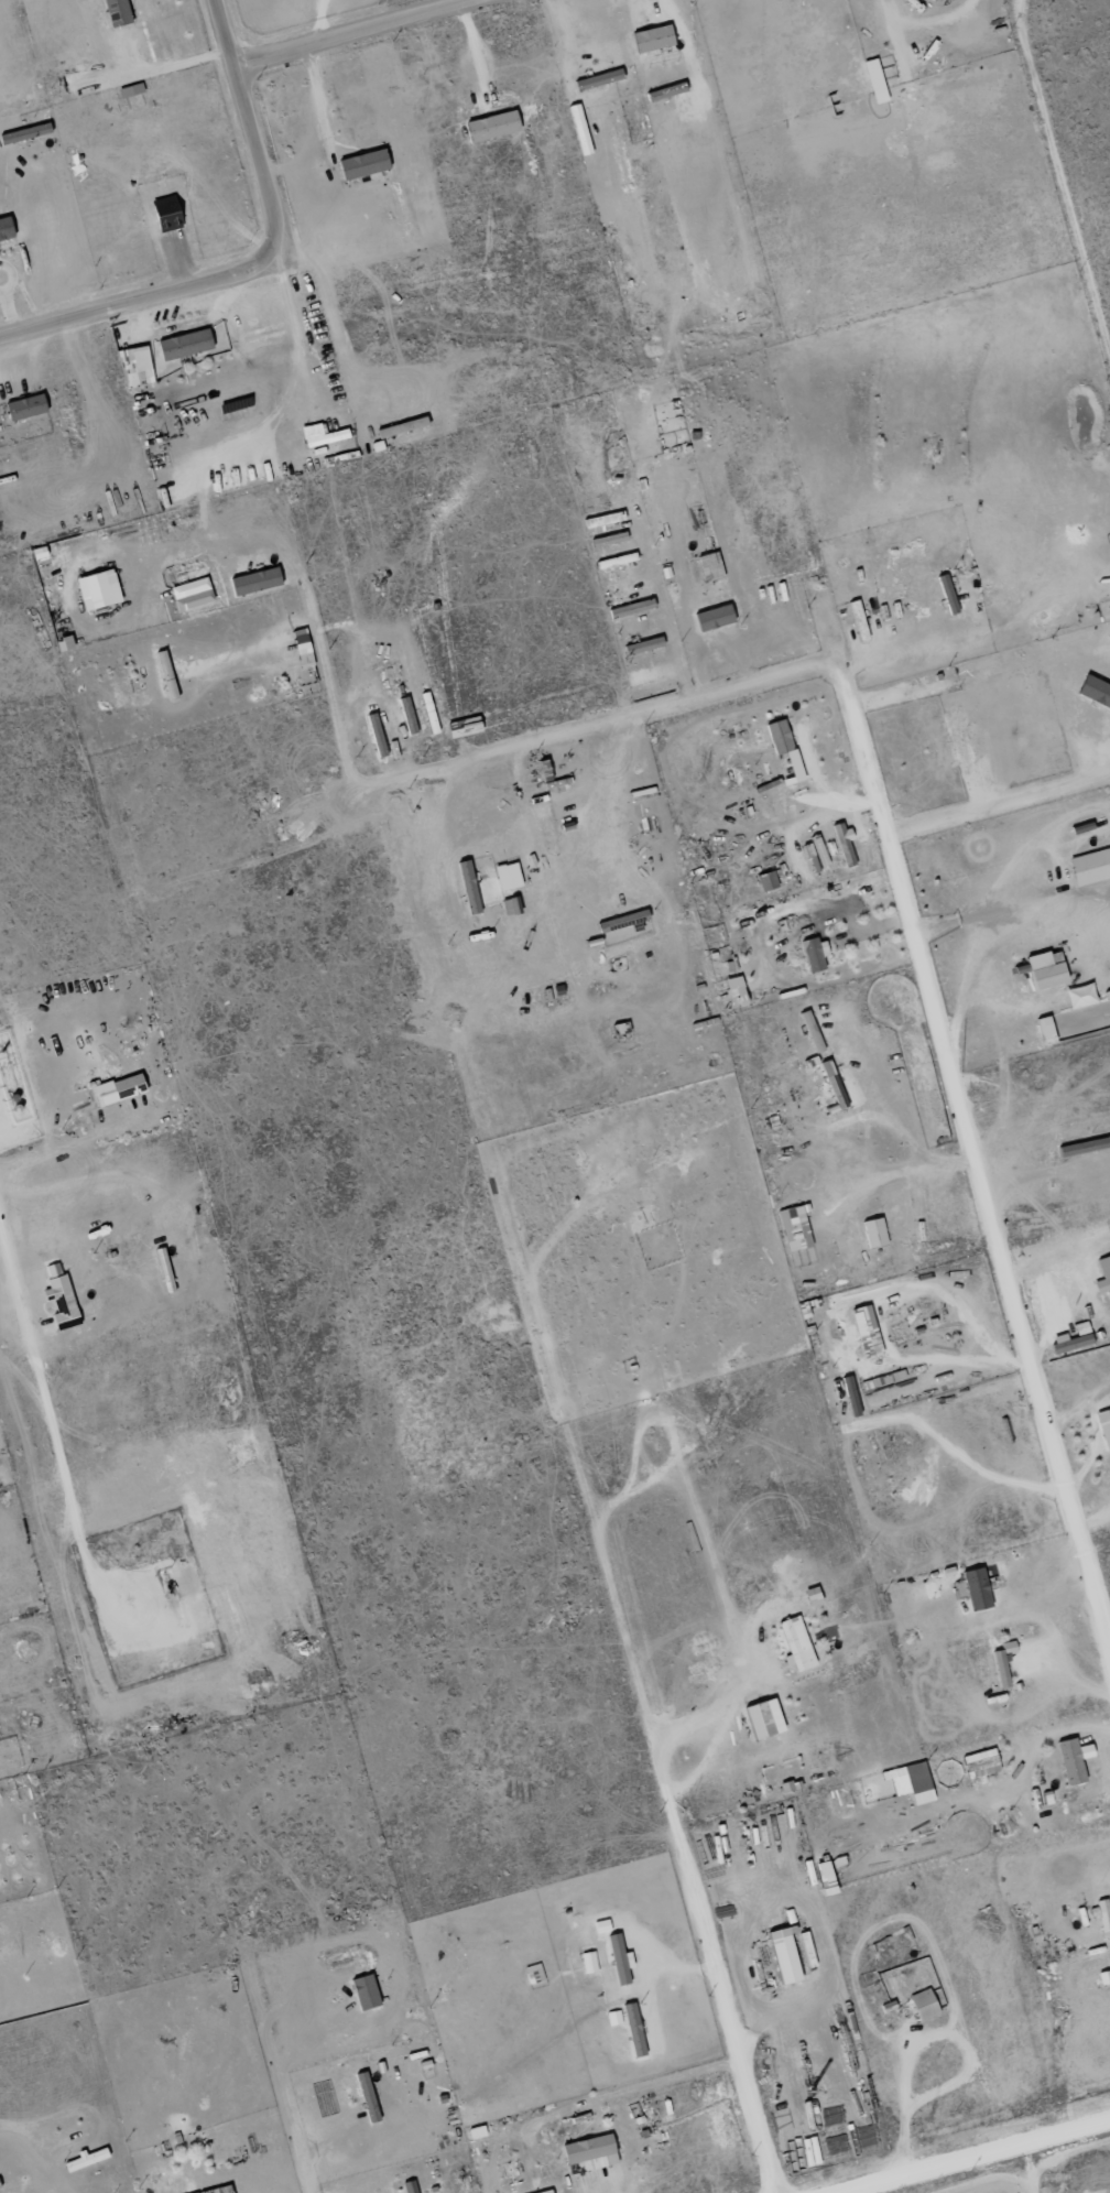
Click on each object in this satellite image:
building: (115, 12)
road: (358, 32)
building: (650, 41)
building: (597, 80)
building: (873, 83)
building: (129, 91)
building: (664, 93)
building: (490, 128)
building: (361, 166)
building: (160, 209)
building: (4, 230)
road: (265, 261)
building: (183, 345)
building: (133, 367)
building: (23, 408)
road: (242, 443)
building: (620, 561)
building: (707, 564)
building: (253, 583)
building: (96, 590)
building: (189, 595)
building: (945, 596)
building: (711, 618)
building: (857, 621)
building: (62, 645)
building: (641, 647)
building: (301, 649)
building: (651, 673)
building: (165, 676)
building: (1093, 692)
building: (406, 719)
building: (777, 738)
building: (842, 845)
building: (817, 851)
building: (1089, 868)
building: (505, 877)
building: (765, 882)
building: (467, 888)
building: (510, 908)
building: (813, 955)
building: (1044, 971)
building: (731, 984)
building: (126, 1087)
building: (793, 1229)
building: (872, 1234)
building: (163, 1271)
building: (1102, 1278)
building: (59, 1304)
building: (864, 1332)
building: (1103, 1427)
road: (792, 1441)
road: (577, 1492)
building: (975, 1591)
building: (810, 1597)
building: (794, 1644)
building: (1002, 1663)
building: (761, 1719)
building: (1071, 1761)
building: (978, 1765)
building: (908, 1783)
building: (784, 1788)
building: (600, 1928)
building: (782, 1956)
building: (618, 1959)
building: (587, 1964)
building: (362, 1994)
building: (922, 2006)
building: (612, 2019)
building: (632, 2031)
building: (366, 2098)
road: (960, 2140)
building: (588, 2153)
building: (83, 2161)
building: (407, 2187)
building: (219, 2190)
building: (545, 2192)

